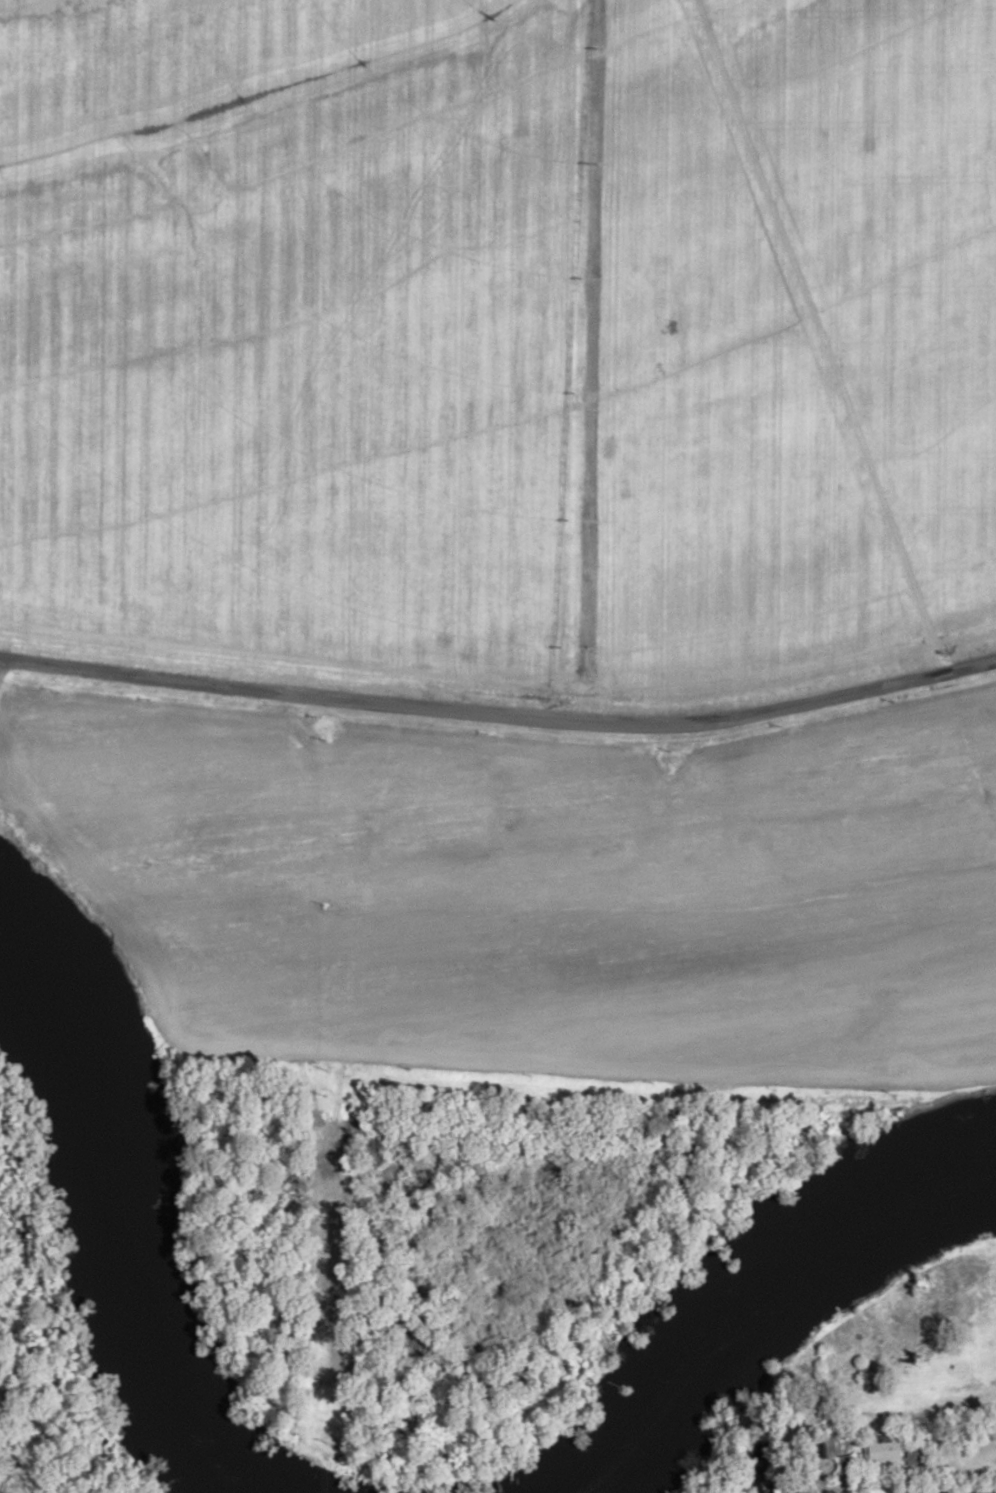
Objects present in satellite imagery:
road: (820, 335)
road: (500, 716)
river: (124, 1221)
river: (764, 1288)
building: (878, 1453)
road: (847, 1488)

